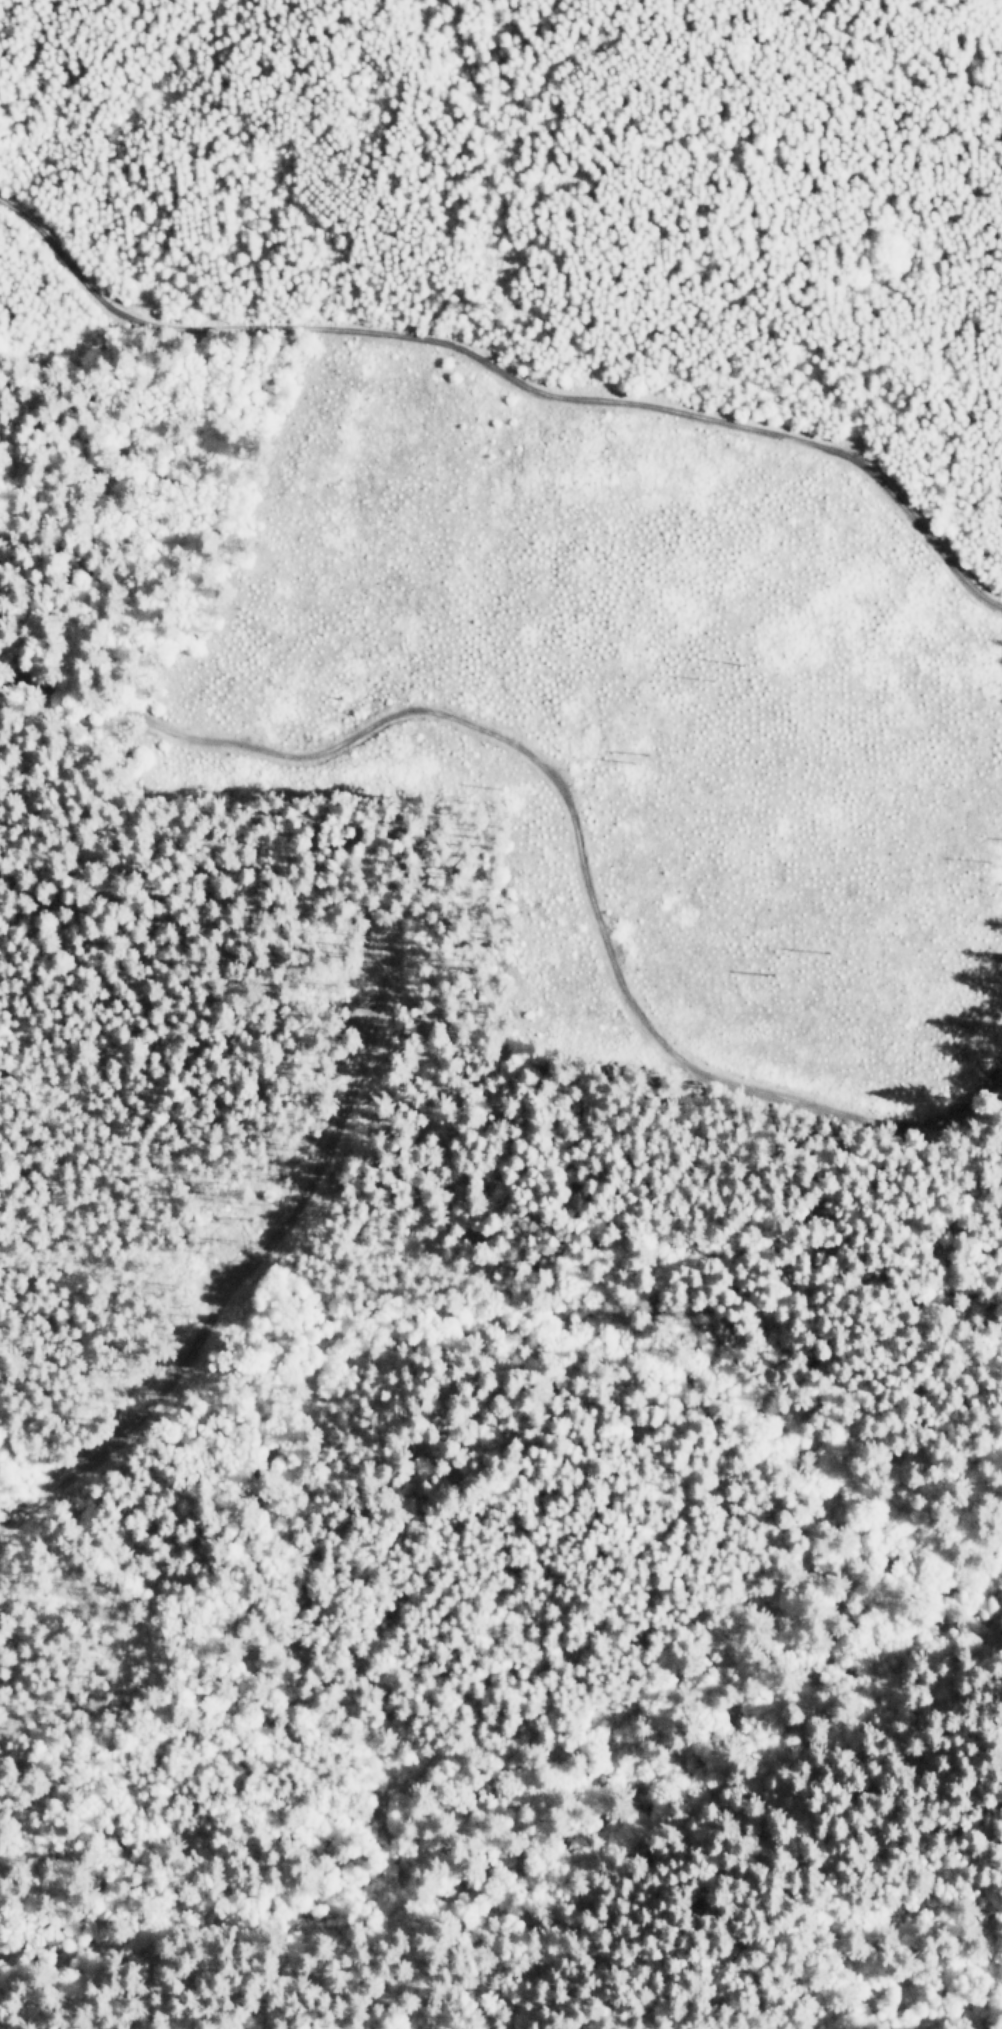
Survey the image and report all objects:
road: (505, 355)
road: (562, 806)
road: (739, 1305)
road: (266, 1549)
road: (899, 1976)

